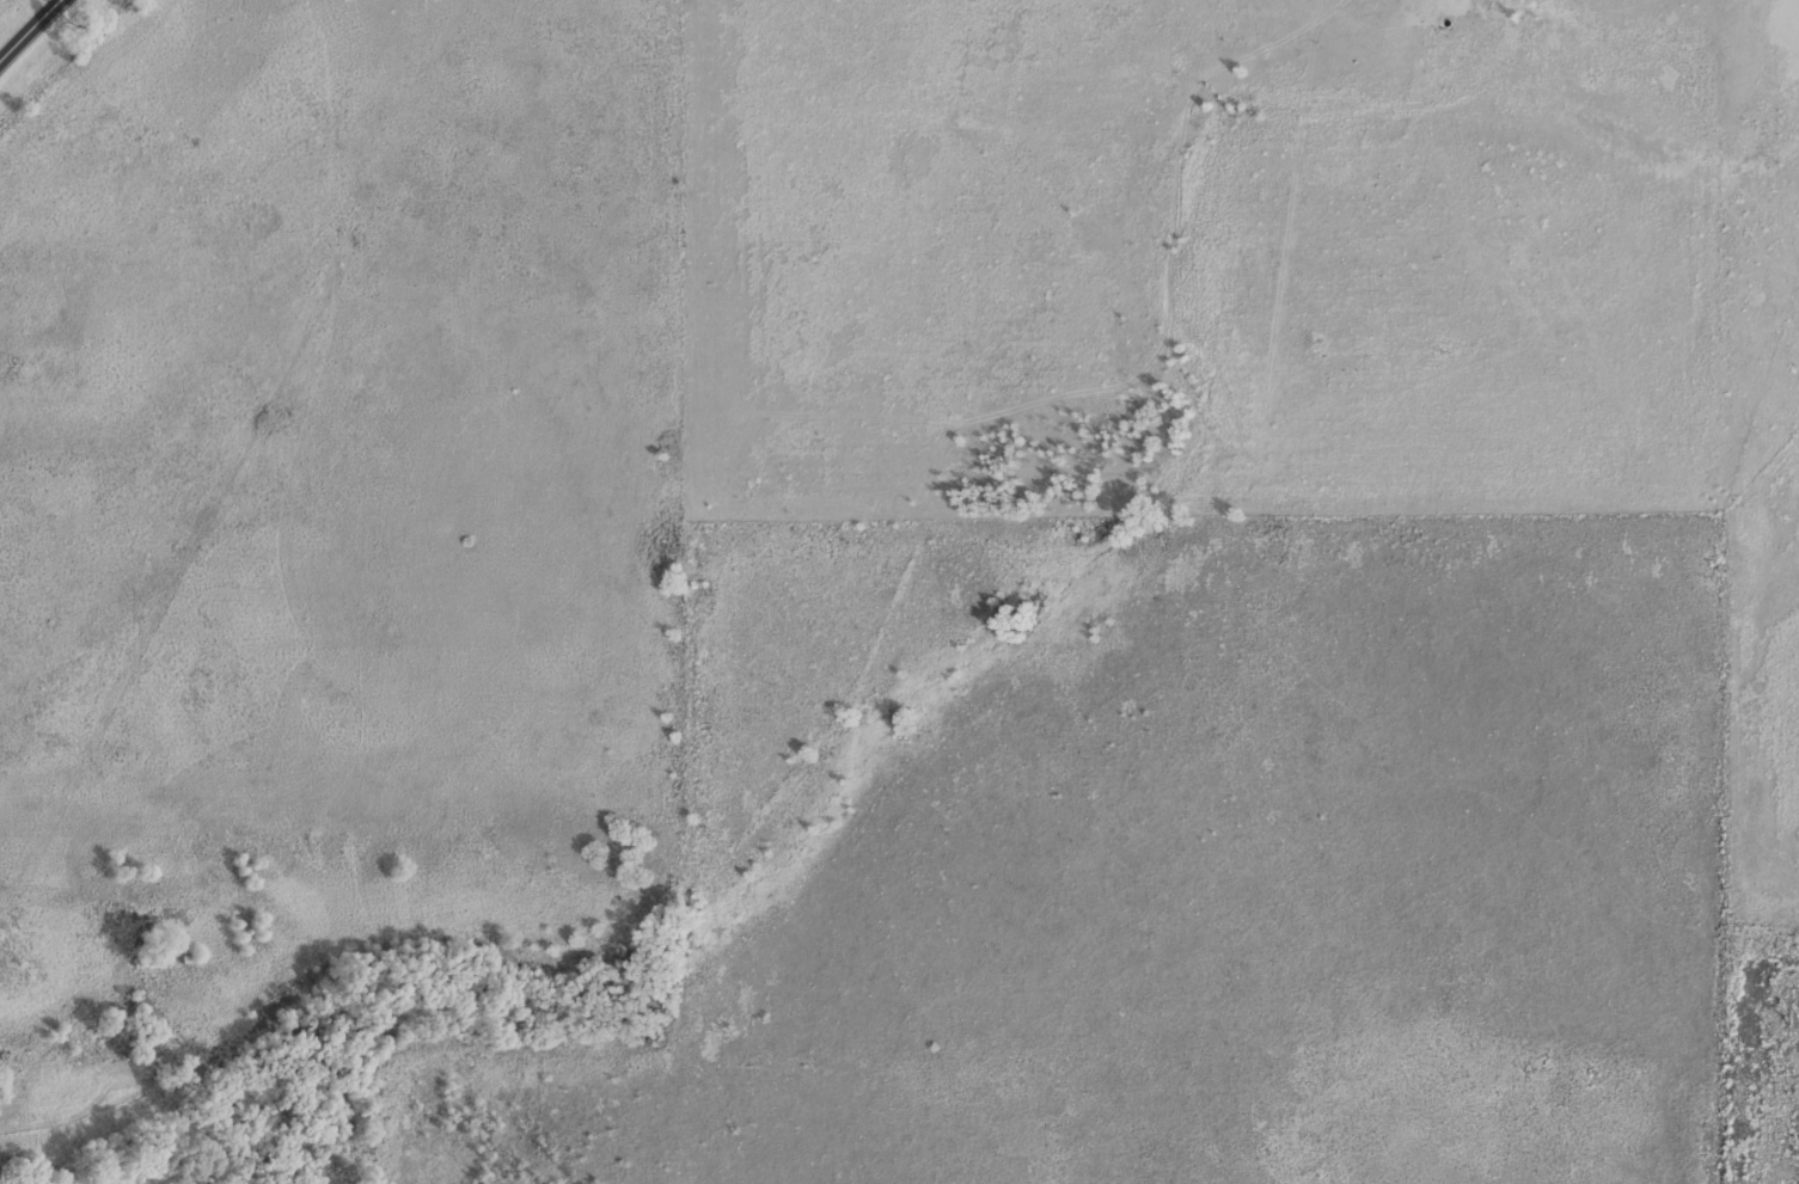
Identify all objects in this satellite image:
road: (27, 29)
road: (74, 1103)

